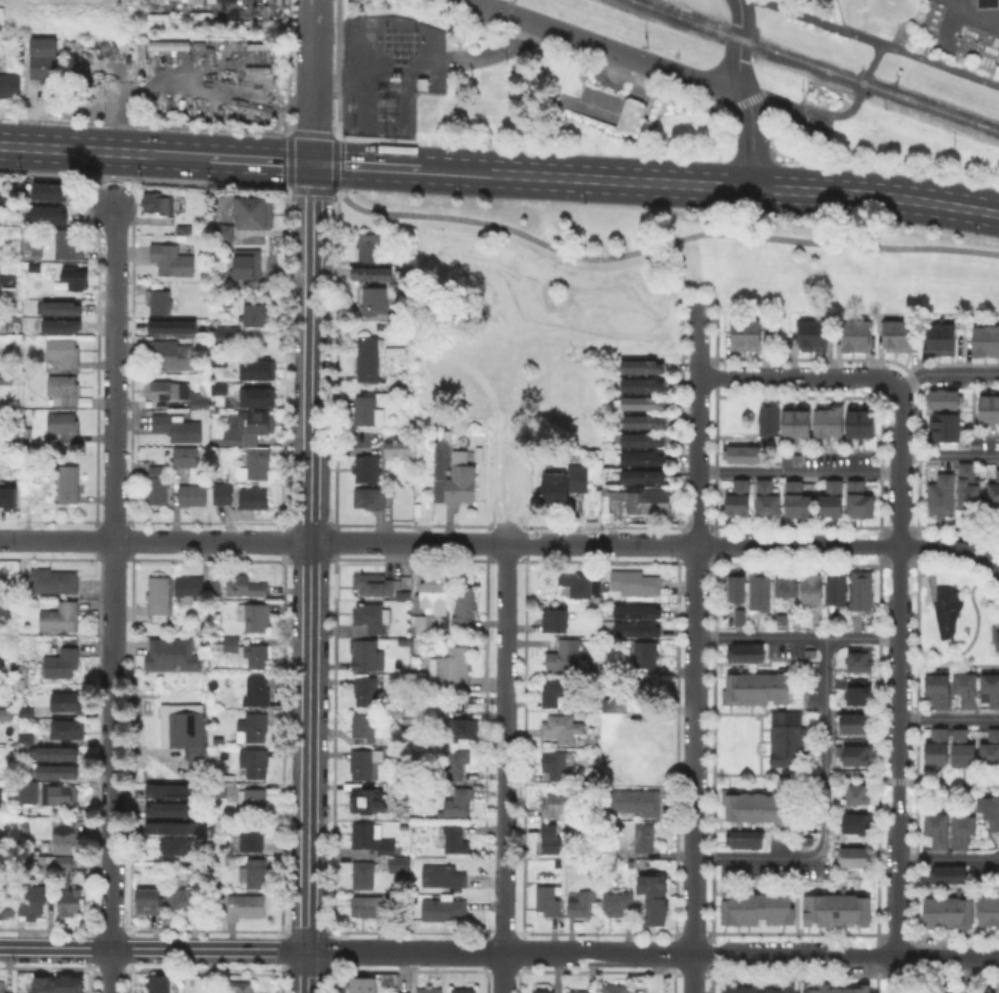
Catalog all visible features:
building: (160, 1)
building: (986, 2)
railway: (684, 14)
road: (977, 19)
road: (820, 21)
wastewater plant: (926, 26)
road: (586, 41)
road: (738, 42)
building: (167, 44)
building: (258, 55)
road: (584, 58)
building: (45, 60)
railway: (817, 64)
road: (867, 68)
road: (338, 69)
power substation: (387, 71)
road: (313, 81)
road: (722, 83)
building: (10, 84)
road: (745, 91)
building: (606, 107)
road: (321, 134)
road: (752, 142)
road: (78, 149)
road: (234, 158)
traffic signals: (313, 163)
road: (400, 167)
road: (290, 176)
road: (313, 176)
road: (145, 178)
road: (620, 180)
road: (302, 190)
road: (336, 190)
road: (112, 191)
road: (324, 191)
building: (40, 193)
road: (876, 195)
building: (2, 198)
building: (158, 202)
building: (251, 211)
building: (39, 217)
building: (222, 231)
building: (378, 236)
building: (67, 243)
road: (661, 244)
building: (365, 245)
building: (37, 253)
building: (378, 254)
building: (173, 259)
building: (244, 263)
building: (369, 273)
building: (75, 276)
building: (8, 278)
building: (376, 299)
building: (160, 301)
building: (62, 307)
building: (256, 314)
building: (217, 319)
building: (4, 324)
building: (63, 325)
building: (170, 325)
building: (744, 333)
building: (810, 333)
building: (853, 333)
building: (894, 333)
building: (228, 334)
building: (939, 337)
building: (984, 339)
building: (64, 351)
building: (172, 355)
building: (370, 357)
building: (221, 360)
building: (643, 365)
building: (258, 369)
road: (945, 371)
road: (797, 376)
building: (6, 377)
building: (205, 382)
building: (644, 384)
building: (65, 388)
building: (161, 388)
building: (221, 388)
building: (183, 394)
building: (257, 397)
building: (942, 397)
building: (200, 399)
building: (645, 402)
building: (987, 406)
building: (368, 410)
building: (770, 416)
building: (797, 418)
building: (829, 418)
building: (862, 419)
building: (645, 420)
building: (64, 425)
building: (941, 425)
building: (178, 426)
building: (250, 427)
building: (15, 434)
building: (645, 438)
building: (598, 443)
building: (396, 445)
building: (744, 450)
road: (949, 454)
building: (187, 456)
building: (457, 456)
building: (643, 457)
building: (798, 457)
building: (255, 460)
building: (363, 467)
building: (157, 468)
road: (799, 472)
building: (643, 476)
building: (68, 483)
building: (462, 483)
building: (37, 485)
building: (564, 485)
building: (969, 486)
building: (157, 488)
building: (994, 491)
building: (223, 493)
building: (943, 493)
building: (192, 494)
building: (7, 497)
building: (254, 497)
building: (368, 497)
building: (768, 497)
building: (832, 497)
building: (739, 498)
building: (860, 498)
building: (798, 499)
building: (645, 501)
road: (955, 527)
road: (347, 542)
road: (851, 544)
building: (53, 581)
building: (785, 582)
building: (637, 583)
building: (377, 584)
building: (578, 584)
building: (246, 585)
building: (738, 585)
building: (838, 585)
building: (190, 586)
building: (811, 587)
building: (760, 588)
building: (863, 590)
road: (310, 591)
building: (435, 595)
building: (159, 597)
road: (113, 599)
building: (464, 605)
building: (633, 610)
building: (215, 613)
building: (254, 615)
building: (741, 615)
road: (977, 616)
building: (60, 617)
building: (370, 618)
building: (781, 618)
building: (557, 620)
park: (953, 620)
building: (201, 623)
building: (426, 623)
building: (628, 631)
road: (796, 635)
building: (998, 637)
road: (693, 649)
building: (743, 650)
building: (247, 651)
building: (173, 653)
building: (365, 654)
building: (648, 654)
building: (566, 656)
building: (860, 658)
building: (63, 659)
road: (949, 664)
building: (454, 667)
building: (22, 678)
building: (421, 679)
road: (506, 684)
building: (940, 685)
building: (992, 685)
building: (753, 686)
building: (968, 687)
road: (898, 688)
building: (258, 690)
building: (366, 690)
building: (556, 691)
building: (647, 691)
building: (859, 691)
building: (65, 699)
building: (614, 706)
building: (23, 711)
building: (6, 714)
building: (407, 714)
road: (948, 718)
building: (856, 720)
building: (253, 725)
building: (365, 726)
building: (464, 727)
building: (562, 727)
building: (68, 729)
building: (184, 731)
building: (784, 736)
building: (29, 739)
building: (939, 744)
building: (990, 747)
building: (964, 748)
building: (59, 750)
building: (857, 753)
building: (255, 761)
building: (365, 762)
building: (459, 764)
building: (558, 764)
building: (58, 769)
road: (847, 773)
building: (11, 784)
building: (859, 790)
building: (400, 791)
building: (174, 792)
building: (60, 794)
building: (30, 799)
building: (1, 800)
building: (370, 800)
building: (254, 801)
building: (635, 801)
building: (458, 802)
building: (755, 804)
building: (558, 805)
road: (821, 806)
building: (990, 808)
building: (175, 810)
building: (858, 820)
building: (938, 827)
building: (964, 827)
building: (173, 828)
building: (252, 835)
building: (66, 836)
building: (453, 837)
building: (742, 837)
building: (554, 839)
building: (646, 839)
building: (377, 843)
building: (177, 847)
building: (856, 854)
road: (948, 859)
building: (63, 861)
building: (45, 863)
building: (557, 864)
building: (255, 872)
building: (945, 872)
building: (365, 875)
building: (444, 876)
road: (504, 889)
building: (183, 898)
building: (31, 899)
building: (547, 899)
building: (653, 899)
building: (69, 900)
building: (149, 902)
building: (617, 902)
building: (584, 904)
building: (247, 905)
building: (369, 905)
building: (754, 906)
building: (5, 907)
building: (444, 908)
building: (834, 908)
building: (987, 908)
building: (945, 911)
road: (154, 948)
road: (499, 952)
road: (845, 955)
road: (503, 973)
road: (968, 974)
building: (63, 984)
building: (159, 984)
building: (362, 984)
building: (3, 987)
building: (242, 987)
building: (753, 987)
building: (833, 987)
building: (998, 988)
building: (939, 989)
building: (463, 990)
building: (211, 991)
building: (428, 991)
building: (544, 991)
building: (616, 991)
building: (984, 991)
building: (404, 992)
building: (578, 992)

